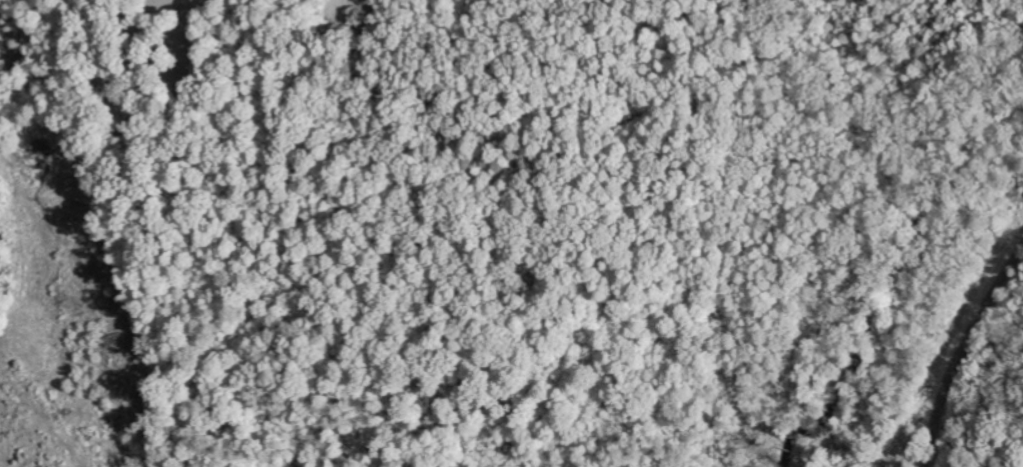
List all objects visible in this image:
road: (961, 351)

